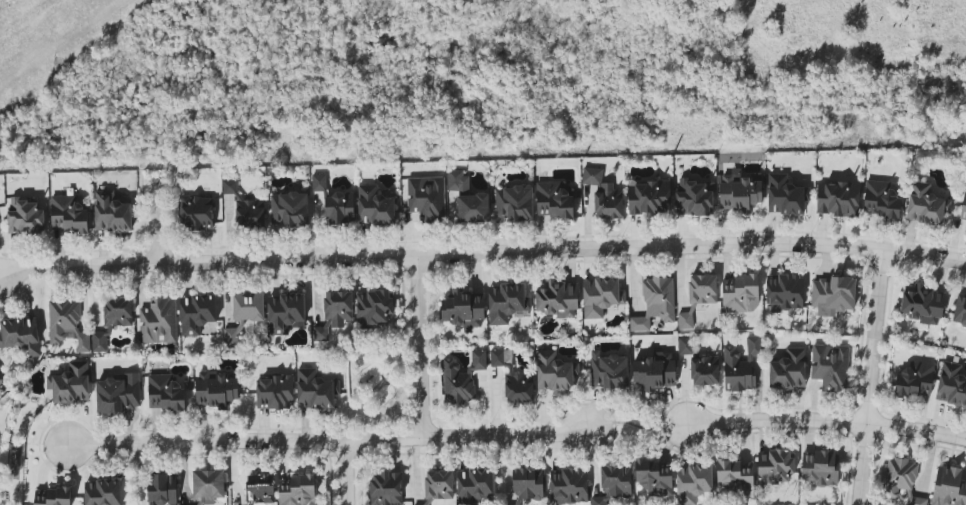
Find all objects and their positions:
building: (319, 182)
building: (458, 182)
building: (739, 191)
building: (604, 195)
building: (785, 195)
building: (427, 198)
building: (649, 198)
building: (692, 198)
building: (837, 198)
building: (881, 199)
building: (554, 201)
building: (514, 203)
building: (926, 205)
building: (374, 206)
building: (964, 206)
building: (245, 207)
building: (340, 208)
building: (473, 208)
building: (289, 209)
building: (111, 213)
building: (196, 213)
building: (68, 215)
building: (25, 217)
road: (154, 217)
road: (482, 253)
building: (784, 291)
building: (833, 293)
building: (740, 294)
building: (601, 296)
building: (698, 297)
building: (557, 299)
building: (507, 303)
building: (655, 303)
building: (923, 304)
building: (248, 307)
building: (373, 308)
building: (463, 308)
building: (960, 310)
building: (118, 311)
building: (285, 312)
building: (196, 313)
building: (334, 313)
building: (159, 321)
building: (67, 325)
building: (21, 335)
building: (231, 338)
building: (100, 340)
road: (419, 346)
building: (741, 366)
building: (830, 366)
building: (788, 370)
building: (608, 371)
building: (655, 371)
building: (705, 371)
building: (555, 372)
road: (869, 377)
building: (513, 378)
building: (461, 379)
building: (915, 380)
building: (71, 384)
building: (951, 385)
building: (215, 390)
building: (315, 390)
building: (165, 393)
building: (274, 393)
building: (118, 394)
road: (826, 421)
road: (636, 425)
road: (326, 441)
building: (775, 467)
building: (820, 467)
road: (345, 473)
building: (655, 476)
building: (735, 477)
building: (902, 479)
building: (693, 482)
building: (613, 483)
building: (528, 484)
building: (208, 485)
building: (439, 485)
building: (475, 486)
building: (570, 486)
building: (949, 487)
building: (260, 488)
building: (386, 488)
building: (162, 489)
building: (297, 490)
building: (103, 492)
building: (152, 504)
building: (423, 504)

